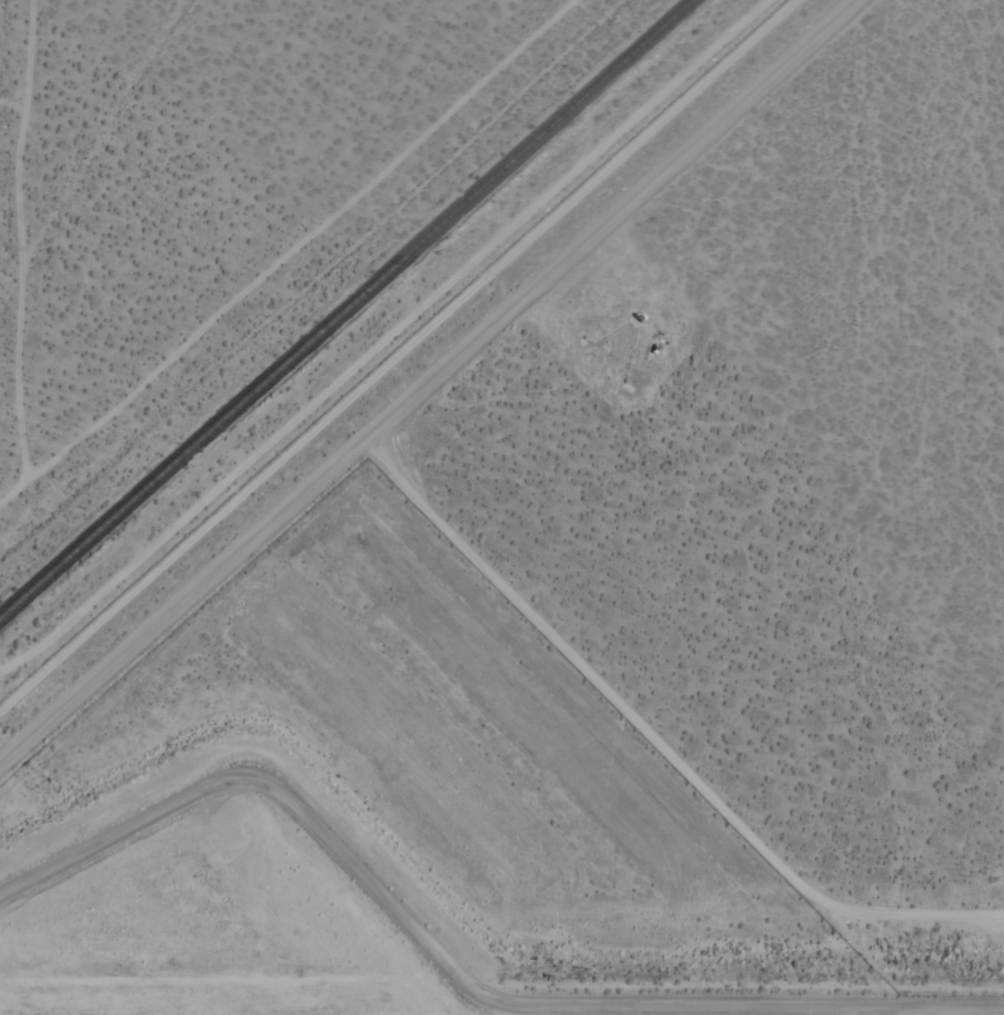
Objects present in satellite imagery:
railway: (345, 306)
building: (637, 315)
road: (428, 382)
airport: (590, 609)
road: (657, 732)
road: (454, 969)

